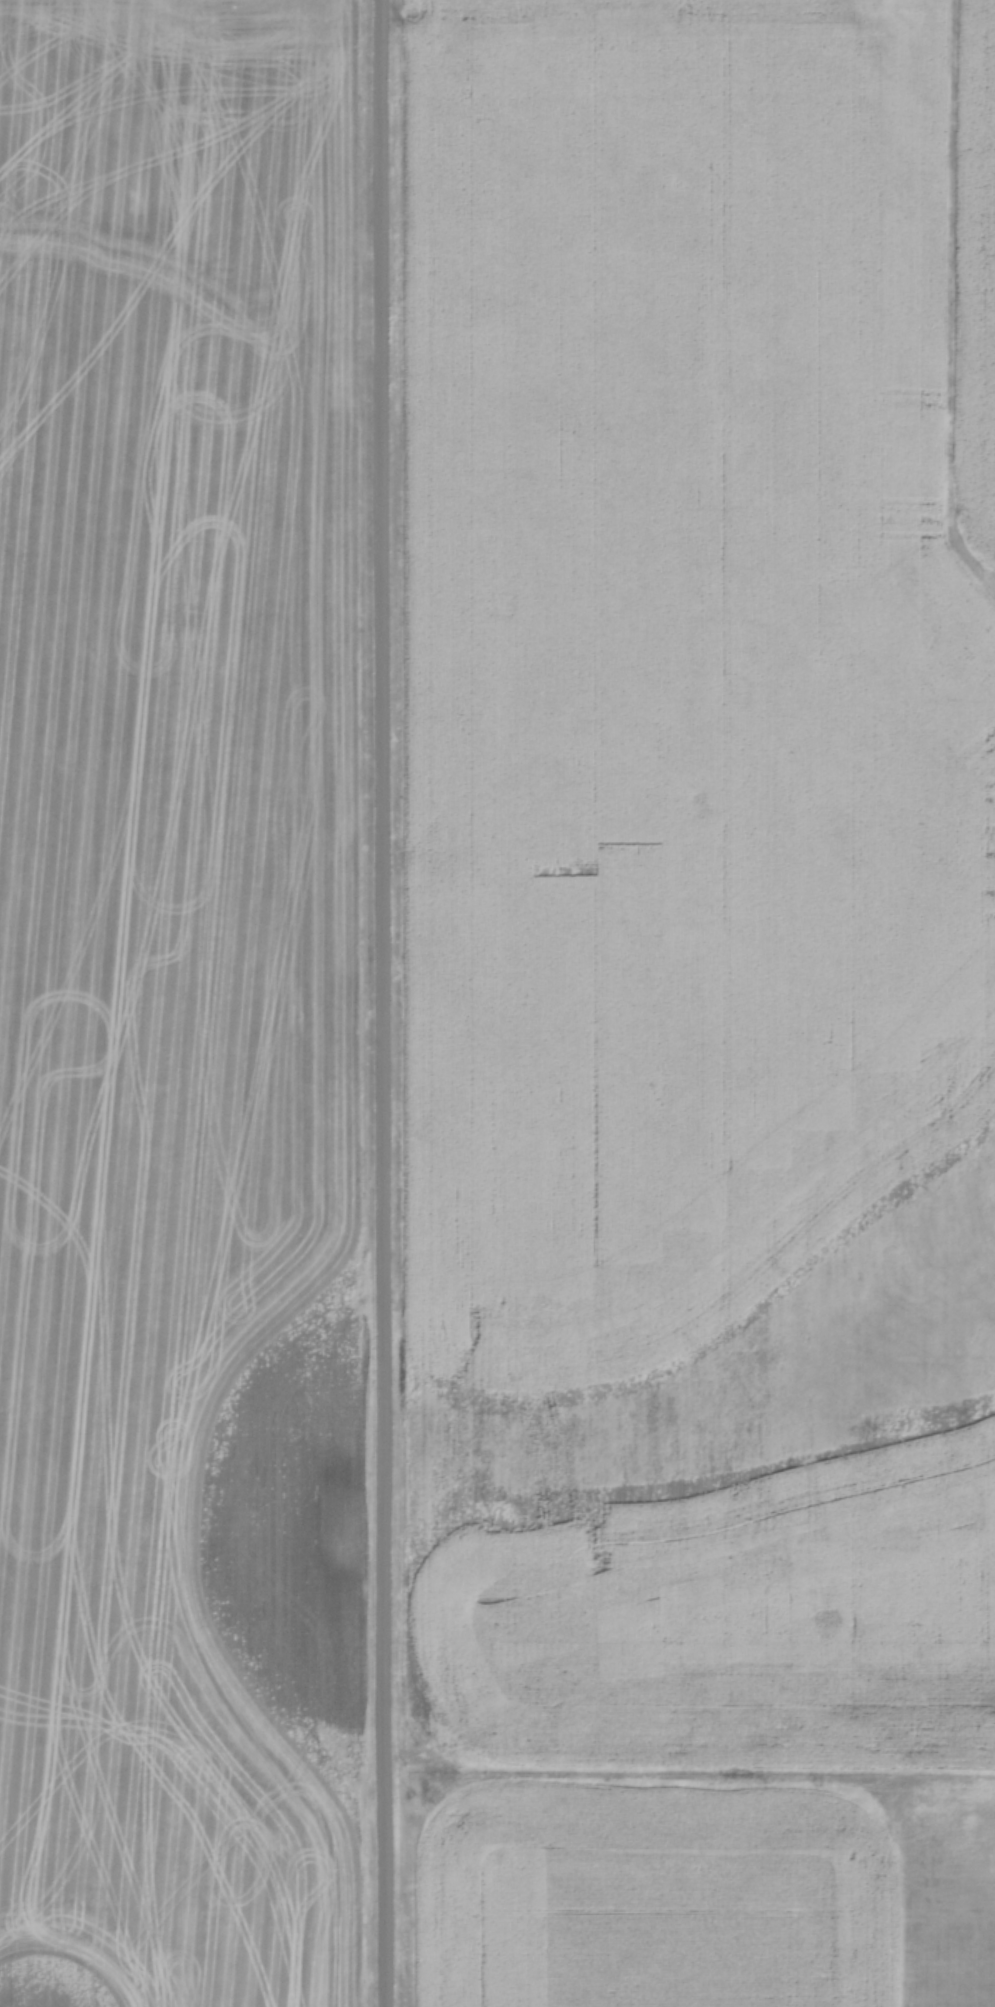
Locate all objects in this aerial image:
road: (389, 1003)
crop: (175, 1004)
airport: (943, 1893)

